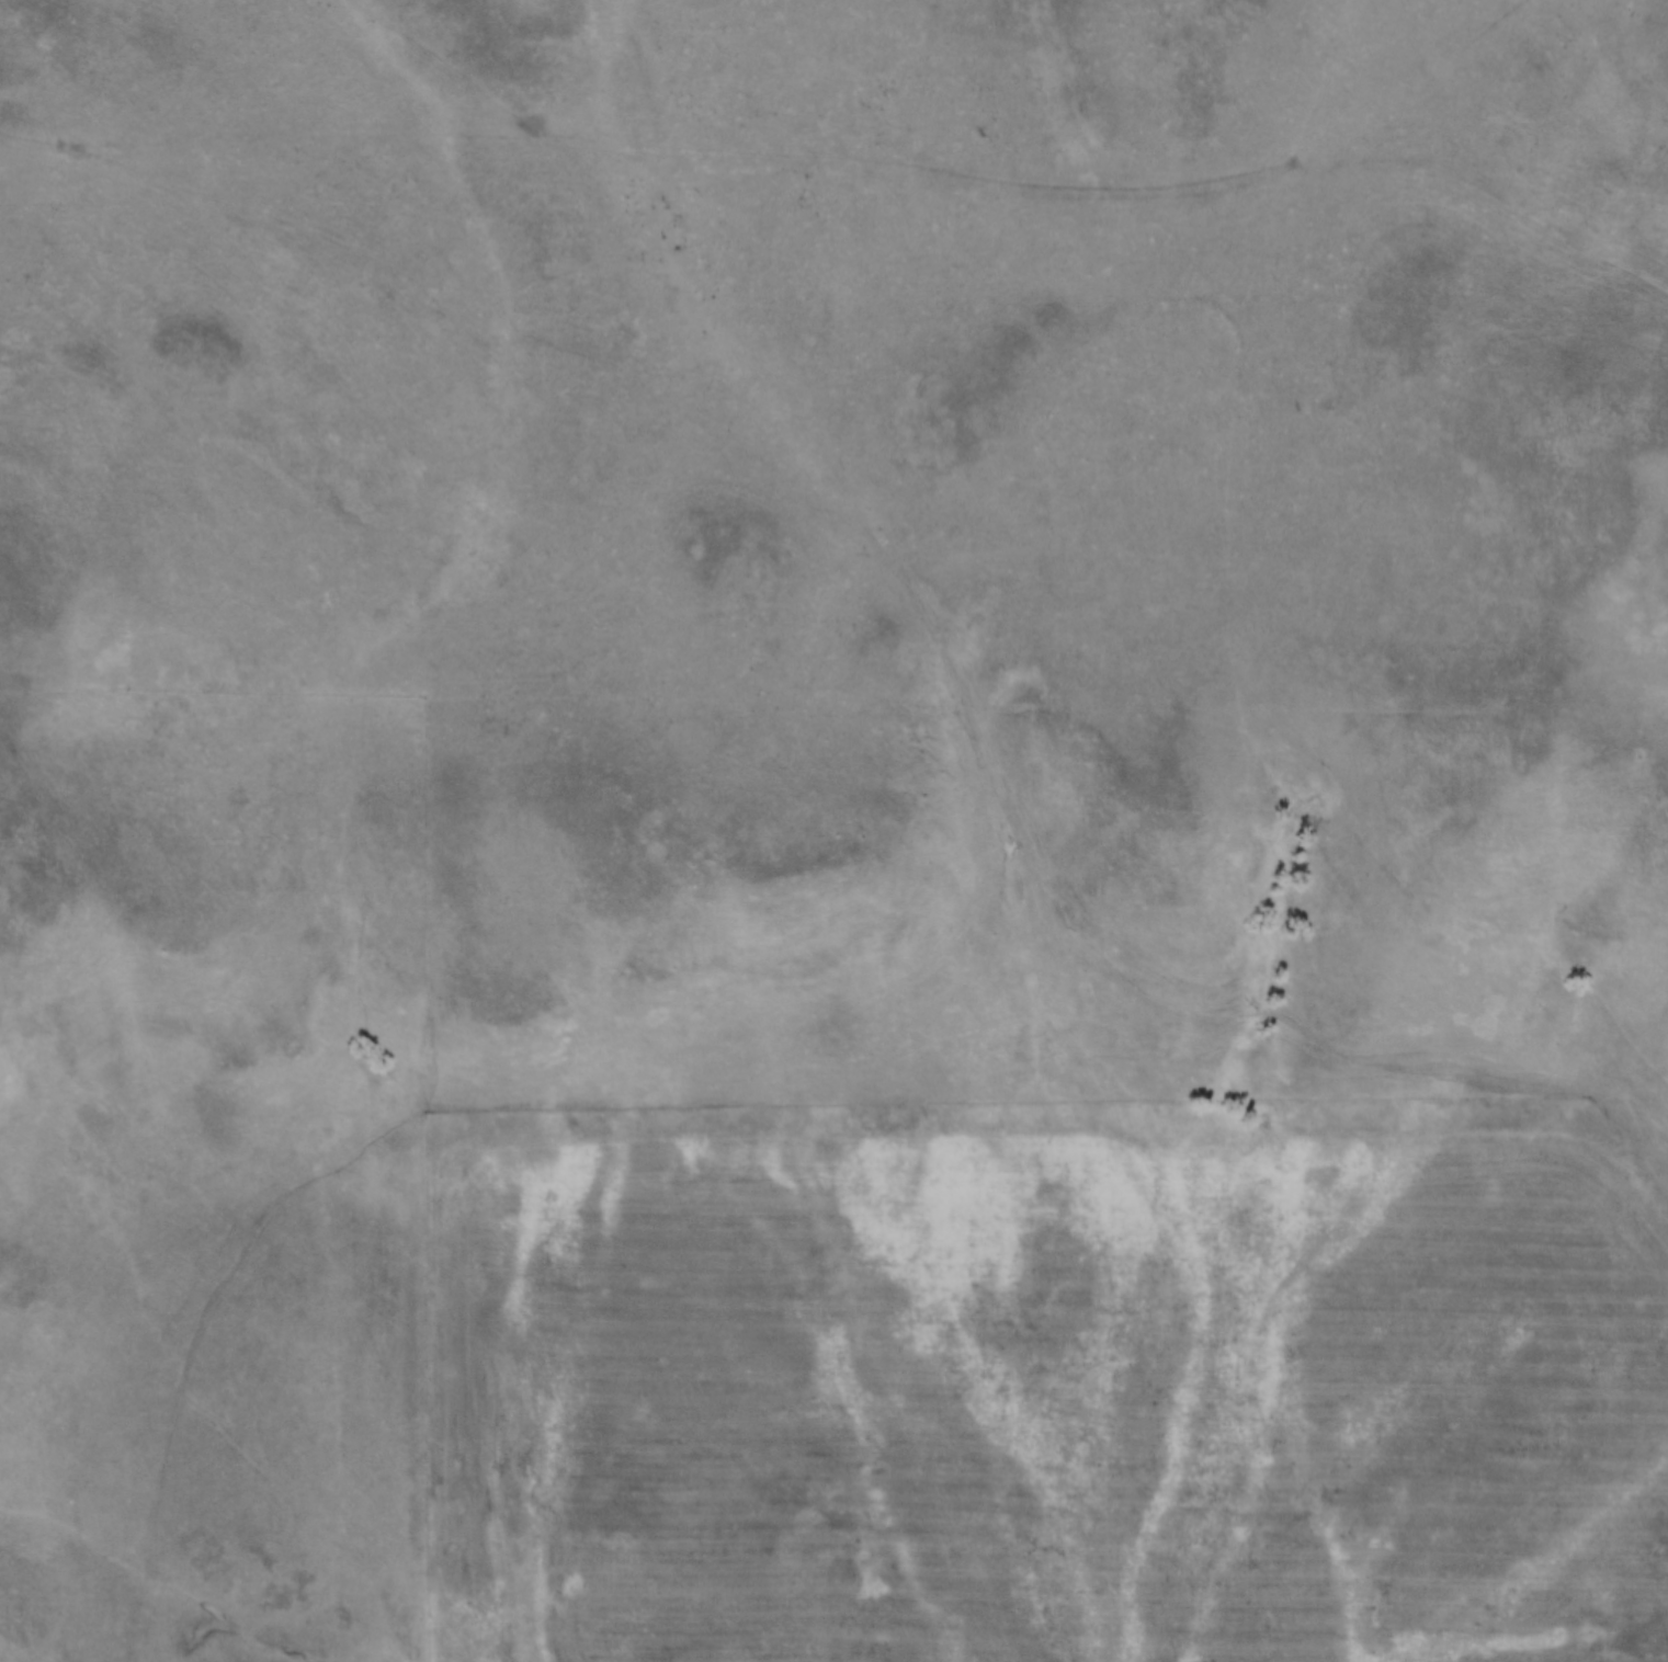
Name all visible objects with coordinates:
road: (847, 167)
road: (338, 251)
road: (1548, 1093)

